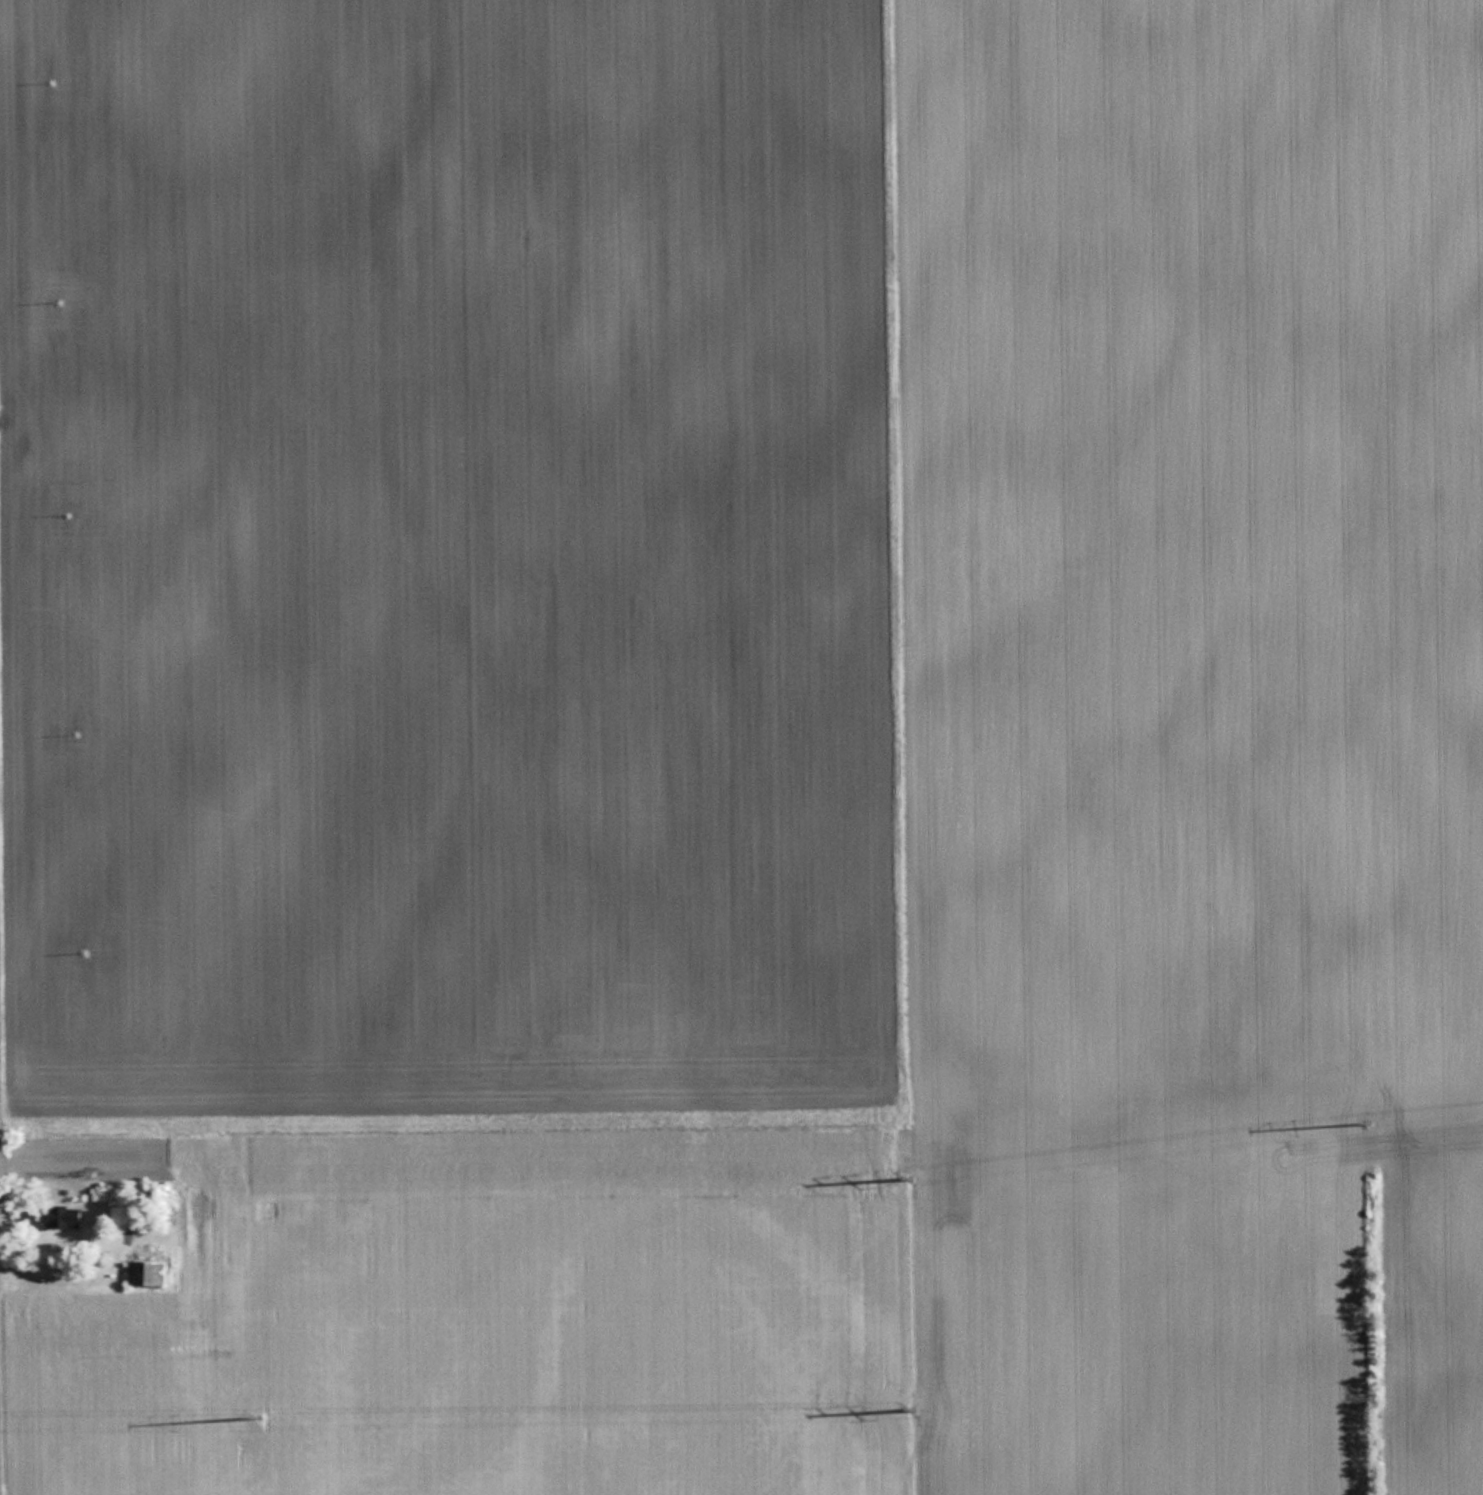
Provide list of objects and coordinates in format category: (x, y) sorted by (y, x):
building: (63, 1216)
building: (146, 1272)

